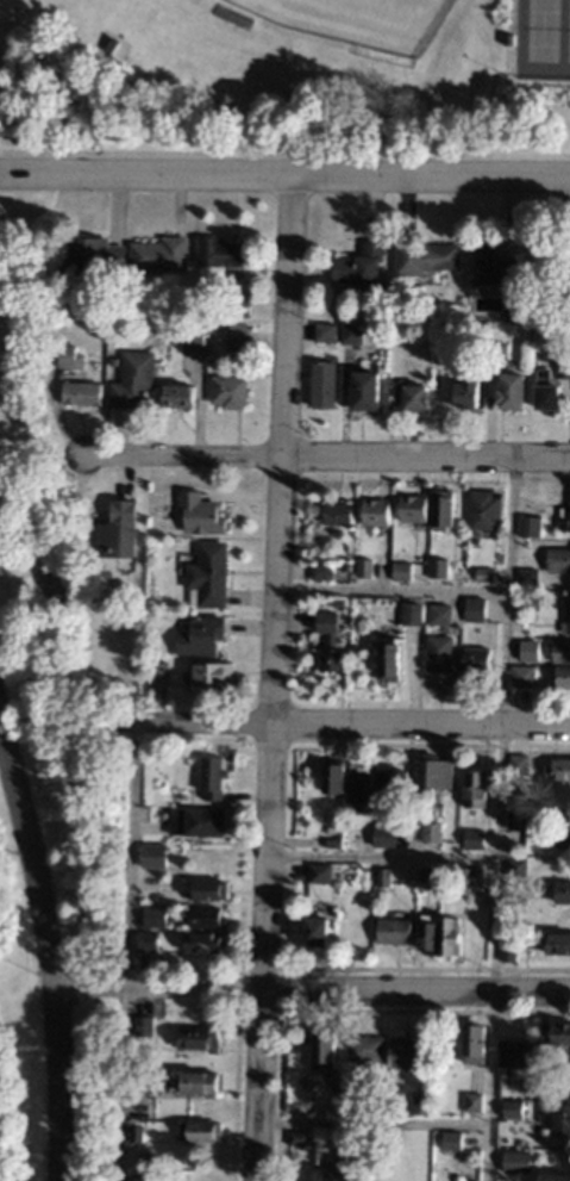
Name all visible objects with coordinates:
park: (349, 21)
park: (540, 39)
park: (286, 77)
road: (284, 174)
building: (219, 251)
building: (92, 254)
building: (159, 254)
building: (424, 255)
building: (560, 257)
building: (359, 263)
building: (501, 267)
building: (239, 306)
building: (394, 309)
building: (184, 311)
road: (286, 313)
building: (509, 315)
building: (547, 316)
building: (388, 318)
building: (443, 327)
building: (324, 330)
building: (546, 330)
building: (351, 332)
building: (190, 334)
building: (237, 336)
building: (496, 350)
building: (446, 352)
building: (69, 356)
building: (112, 360)
building: (562, 368)
building: (133, 378)
building: (321, 383)
building: (511, 389)
building: (364, 390)
building: (465, 390)
building: (546, 390)
building: (228, 391)
building: (81, 392)
building: (407, 394)
building: (177, 396)
road: (326, 454)
building: (484, 508)
building: (412, 509)
building: (440, 509)
building: (375, 510)
building: (200, 512)
building: (336, 512)
building: (563, 517)
building: (528, 526)
building: (115, 529)
building: (558, 559)
building: (345, 566)
building: (363, 567)
building: (438, 567)
building: (320, 571)
building: (401, 571)
building: (483, 573)
building: (207, 574)
building: (527, 577)
road: (390, 588)
building: (527, 599)
building: (476, 604)
building: (412, 613)
building: (439, 614)
building: (566, 616)
building: (201, 635)
building: (327, 641)
building: (526, 646)
building: (562, 651)
building: (439, 653)
building: (389, 658)
building: (477, 659)
building: (159, 671)
building: (212, 673)
building: (524, 675)
building: (562, 675)
road: (342, 722)
building: (155, 752)
building: (519, 764)
building: (560, 767)
park: (50, 773)
building: (436, 773)
building: (333, 776)
building: (211, 777)
building: (392, 779)
building: (358, 785)
building: (475, 788)
building: (552, 815)
road: (267, 816)
road: (499, 819)
building: (516, 819)
building: (196, 820)
building: (331, 829)
building: (563, 829)
building: (431, 831)
building: (383, 834)
building: (474, 838)
building: (333, 841)
building: (152, 853)
road: (381, 856)
building: (515, 866)
building: (319, 872)
building: (428, 874)
building: (382, 876)
building: (474, 876)
building: (334, 882)
building: (409, 885)
building: (209, 888)
building: (562, 890)
building: (511, 899)
building: (154, 915)
building: (207, 916)
building: (393, 930)
building: (315, 931)
building: (427, 933)
building: (447, 934)
building: (146, 940)
building: (203, 941)
building: (558, 941)
road: (46, 951)
road: (129, 951)
building: (508, 951)
road: (309, 988)
road: (280, 1019)
building: (143, 1025)
building: (556, 1032)
building: (198, 1038)
building: (472, 1043)
building: (322, 1049)
building: (364, 1049)
building: (514, 1051)
building: (405, 1052)
building: (138, 1081)
building: (199, 1082)
road: (92, 1083)
building: (420, 1102)
building: (472, 1102)
building: (351, 1106)
building: (512, 1108)
building: (562, 1117)
road: (371, 1123)
building: (199, 1130)
building: (134, 1132)
building: (297, 1137)
building: (451, 1139)
building: (311, 1143)
building: (345, 1156)
building: (515, 1161)
building: (140, 1176)
building: (552, 1177)

